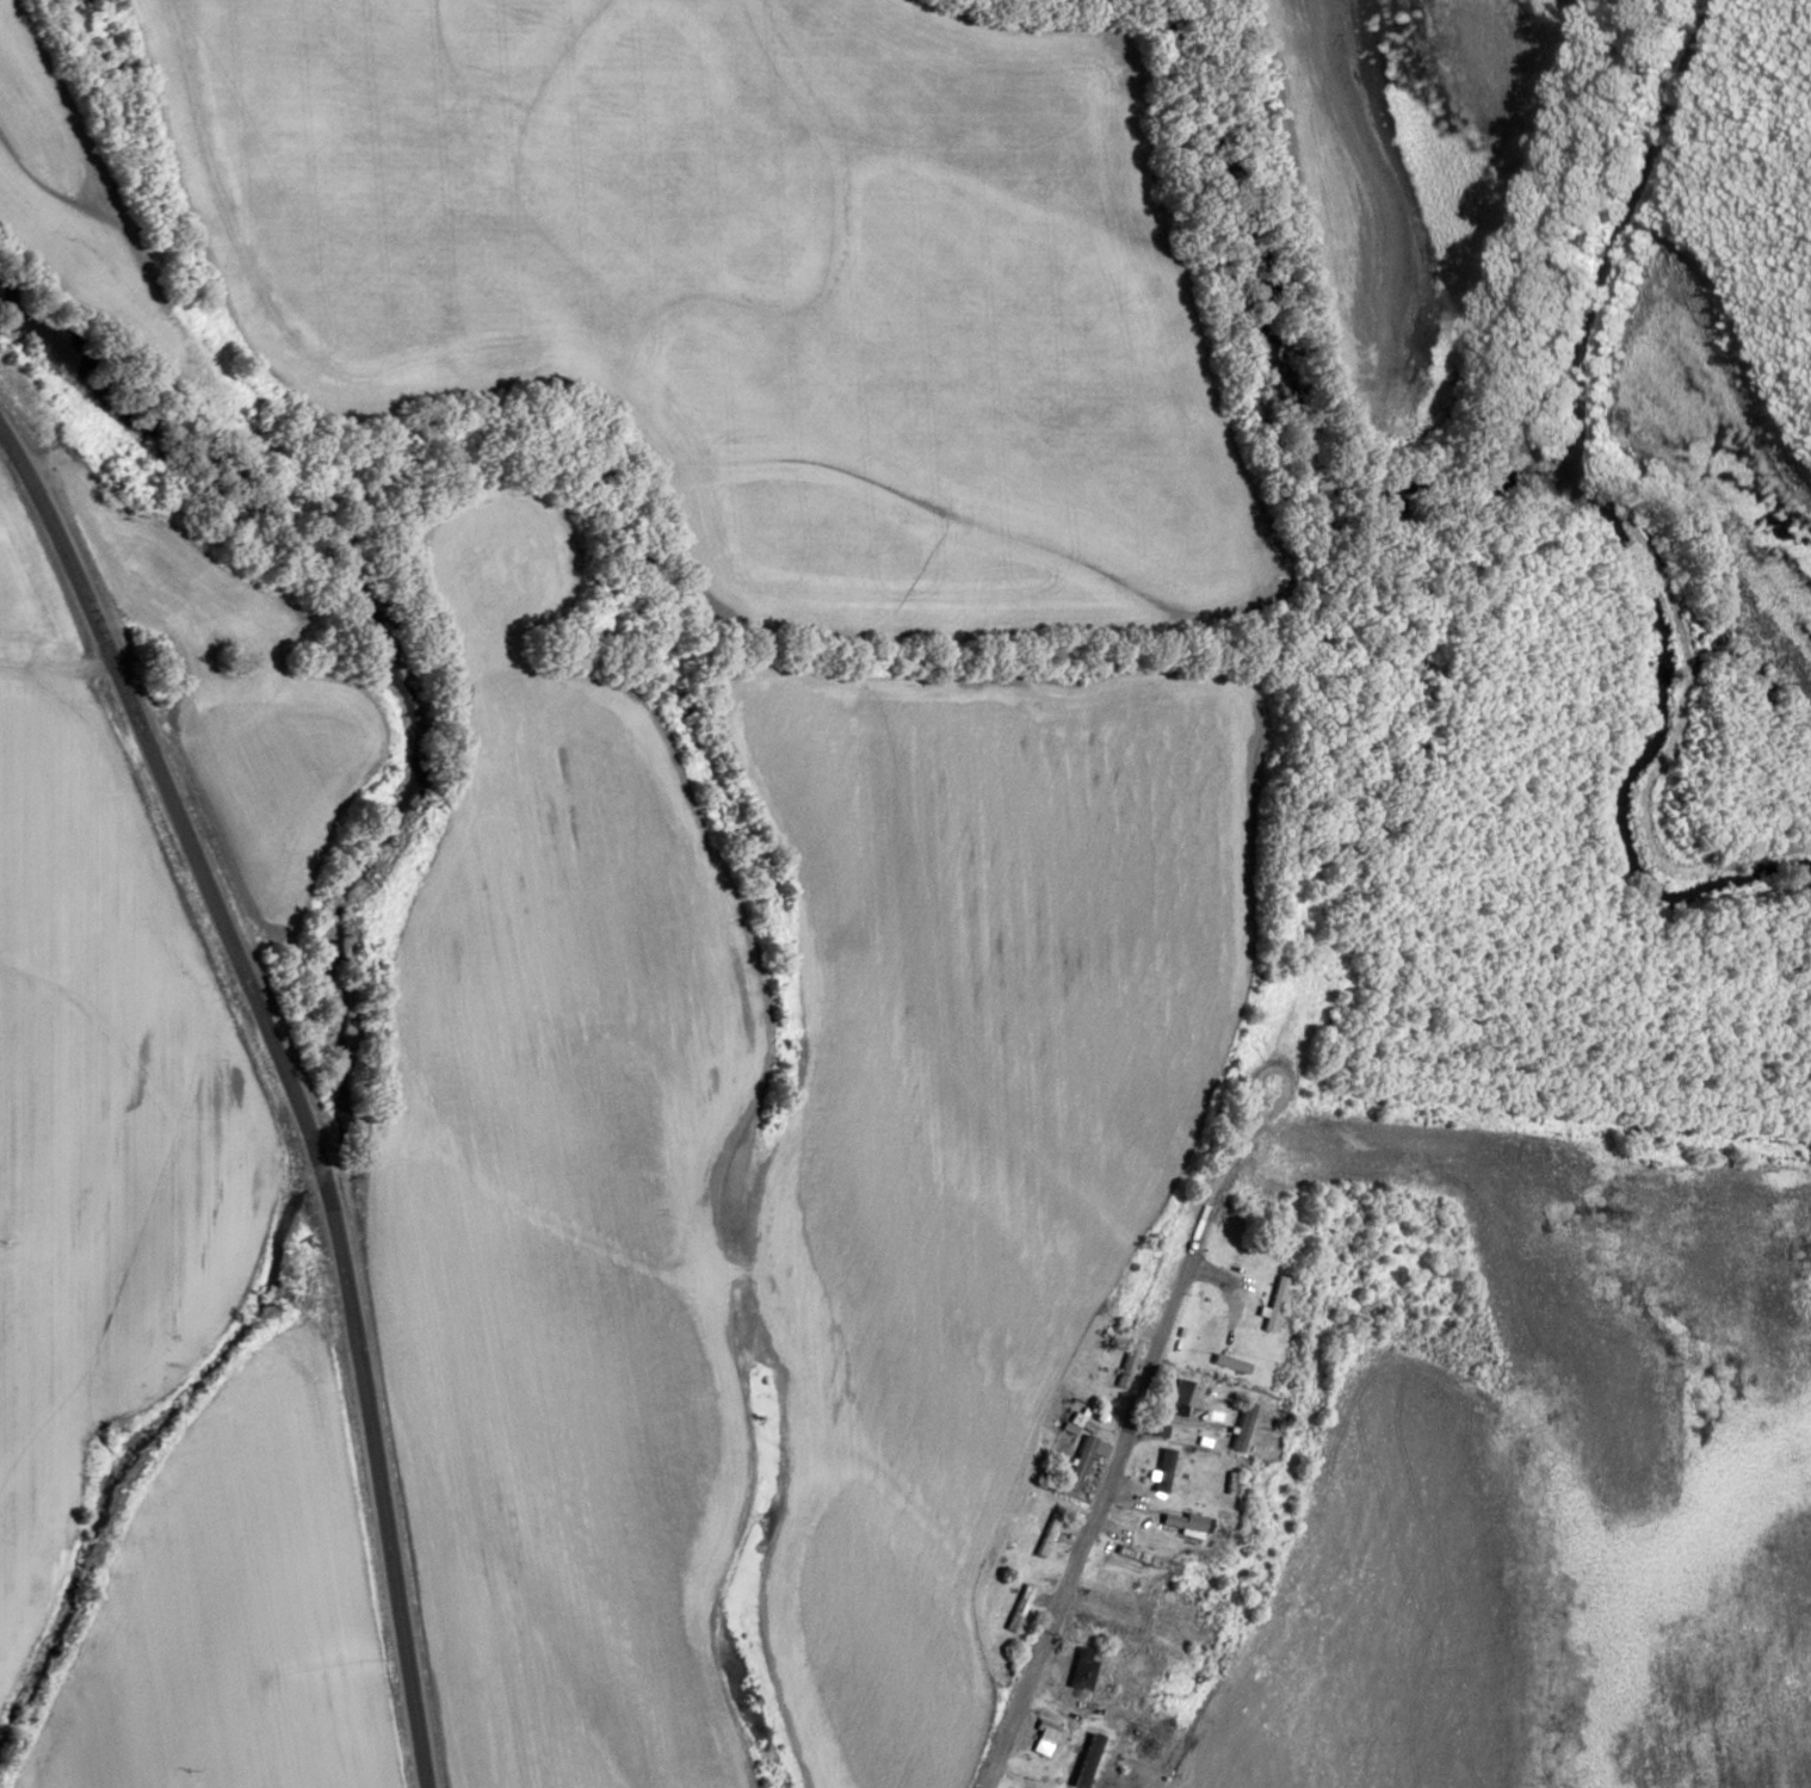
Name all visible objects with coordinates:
road: (51, 564)
road: (57, 675)
road: (1504, 679)
road: (1518, 1115)
road: (419, 1171)
building: (1127, 1363)
building: (1186, 1398)
building: (1243, 1427)
building: (1080, 1464)
building: (1163, 1471)
road: (1113, 1472)
road: (1292, 1483)
building: (1183, 1522)
building: (1046, 1535)
building: (1019, 1609)
building: (1081, 1669)
building: (1043, 1738)
road: (1156, 1739)

